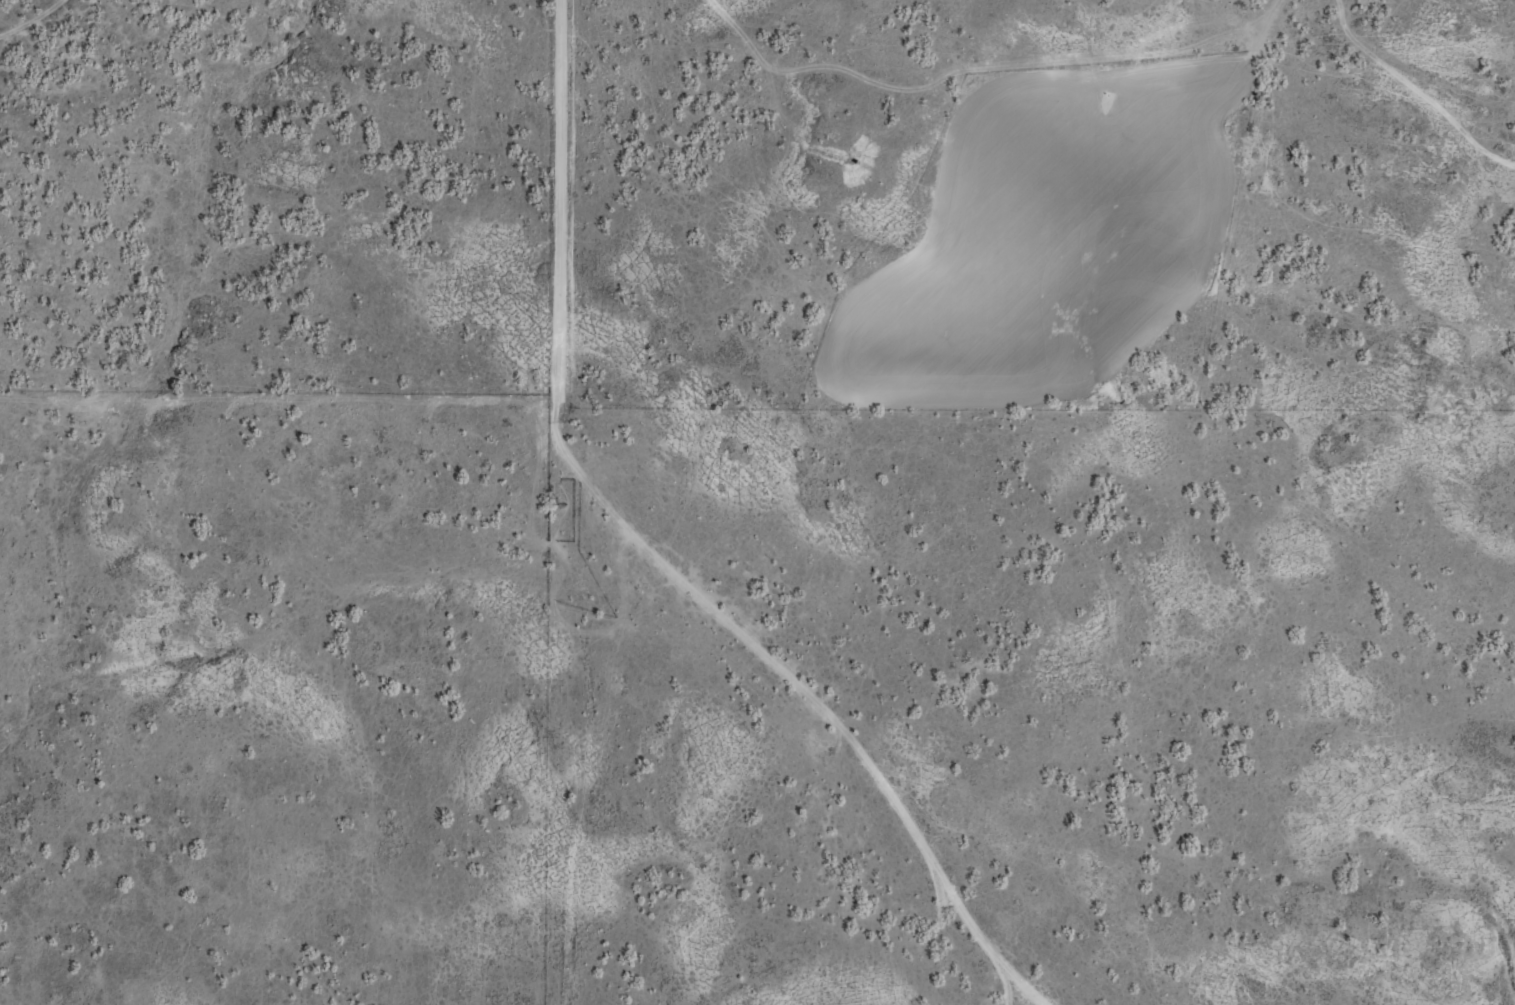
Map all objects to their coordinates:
road: (61, 41)
road: (546, 502)
road: (840, 681)
road: (168, 879)

